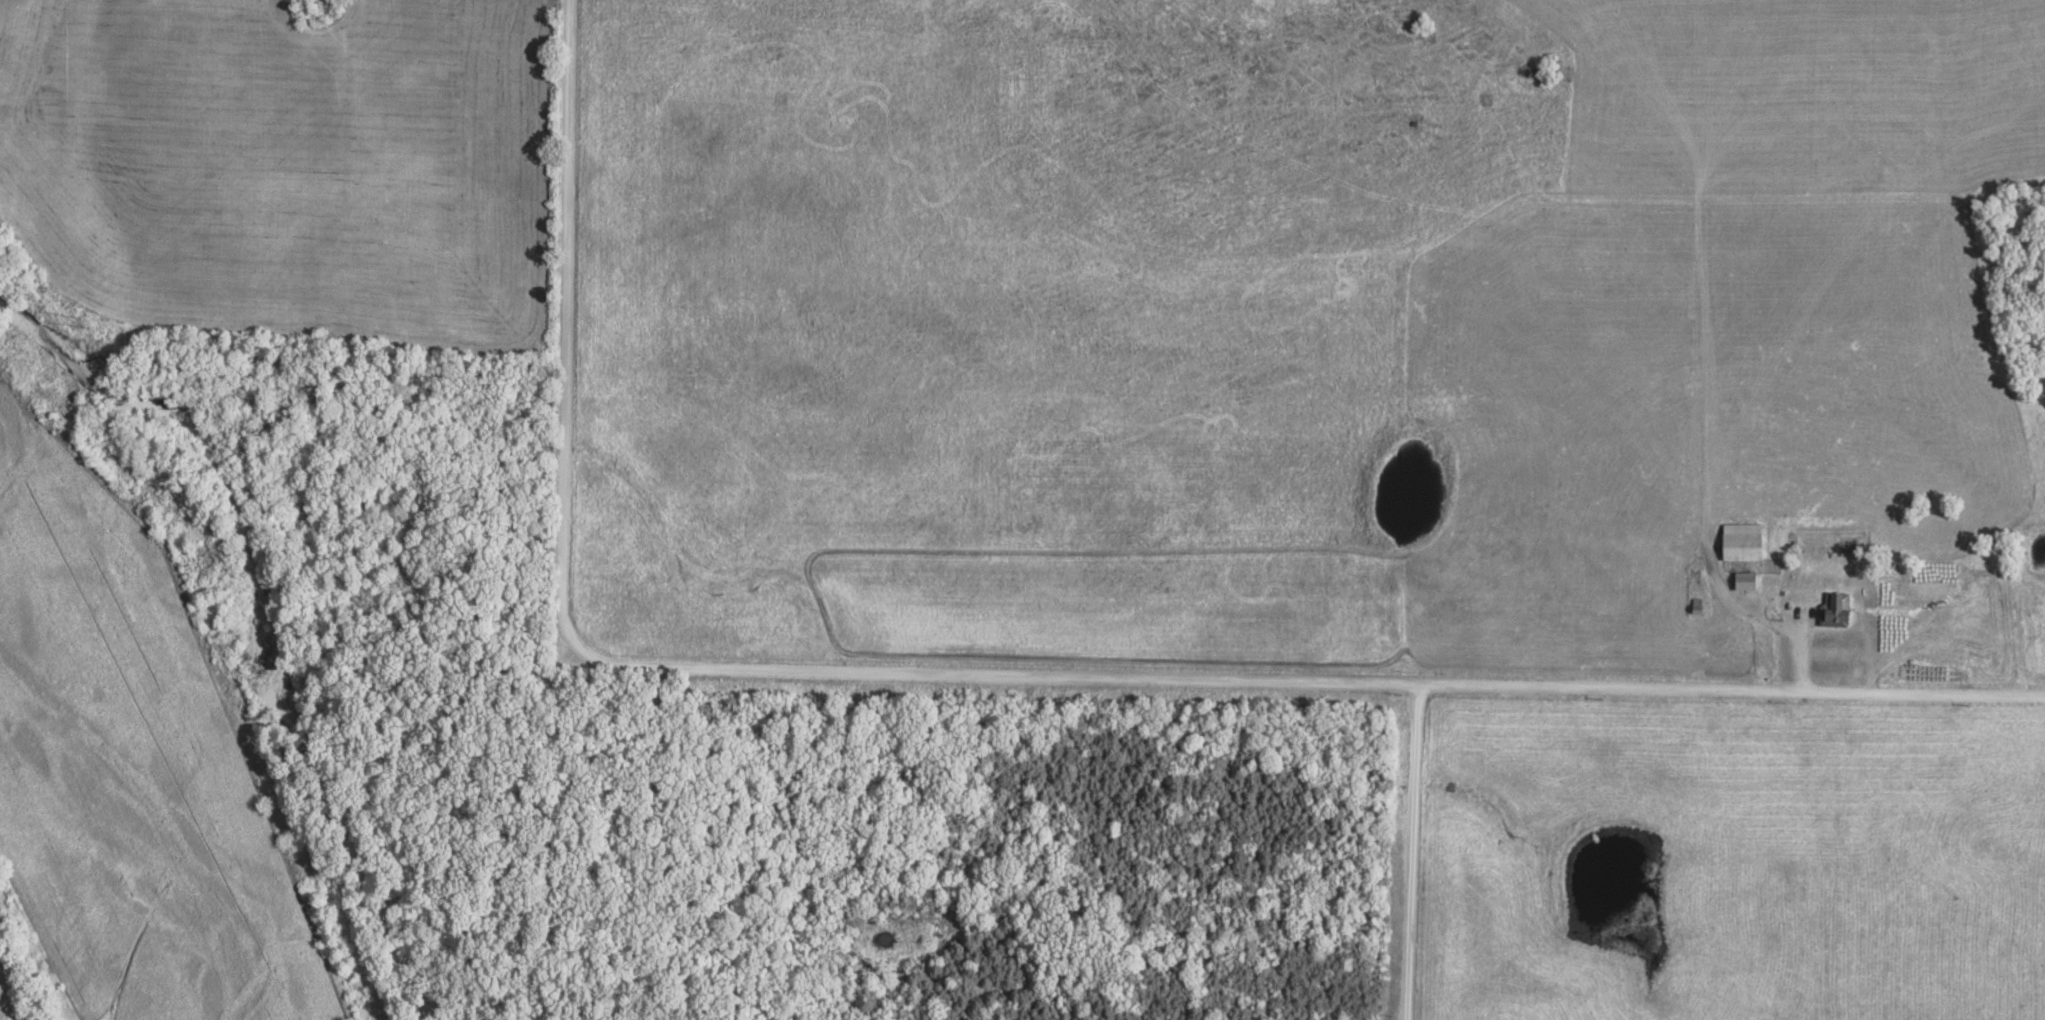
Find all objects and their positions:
power tower: (90, 322)
building: (1748, 543)
building: (1750, 582)
building: (1835, 605)
building: (1699, 607)
road: (1753, 608)
road: (989, 672)
road: (1413, 850)

